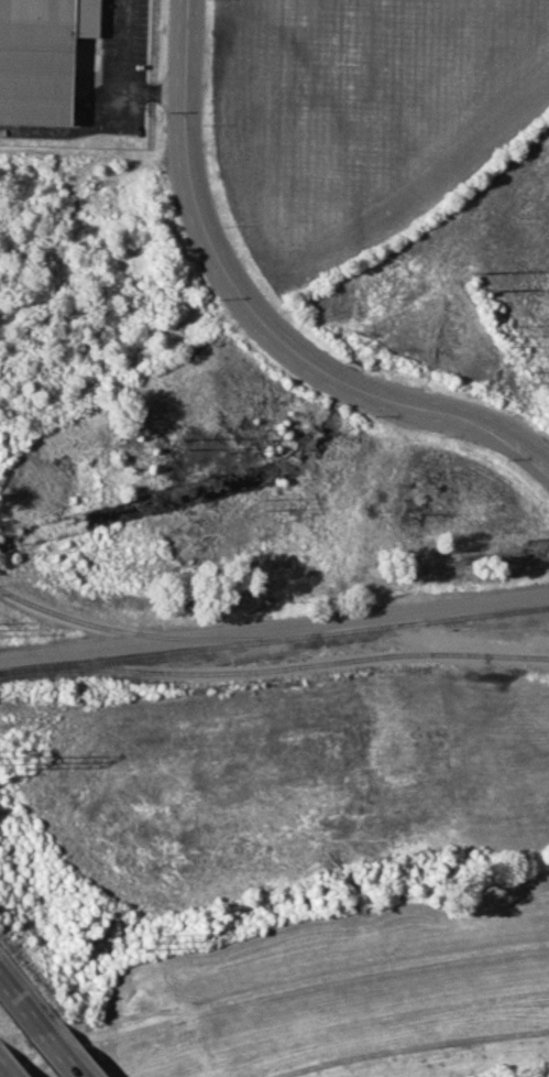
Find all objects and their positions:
building: (41, 56)
road: (117, 78)
crop: (393, 182)
power tower: (473, 273)
power tower: (485, 291)
road: (256, 314)
power tower: (501, 334)
power tower: (534, 374)
power tower: (172, 439)
power tower: (251, 446)
power tower: (177, 449)
power tower: (257, 501)
road: (274, 625)
railway: (154, 634)
railway: (274, 638)
railway: (274, 668)
power tower: (31, 762)
crop: (279, 782)
power tower: (150, 937)
road: (272, 993)
road: (12, 1001)
road: (48, 1046)
road: (3, 1071)

